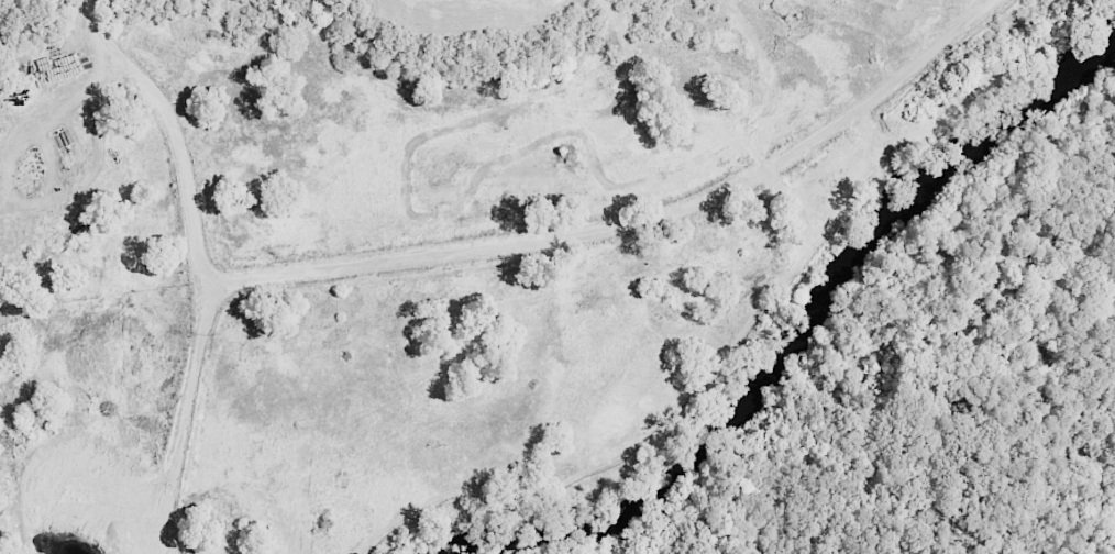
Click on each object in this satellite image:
road: (553, 2)
road: (531, 48)
road: (148, 79)
road: (584, 208)
river: (807, 329)

